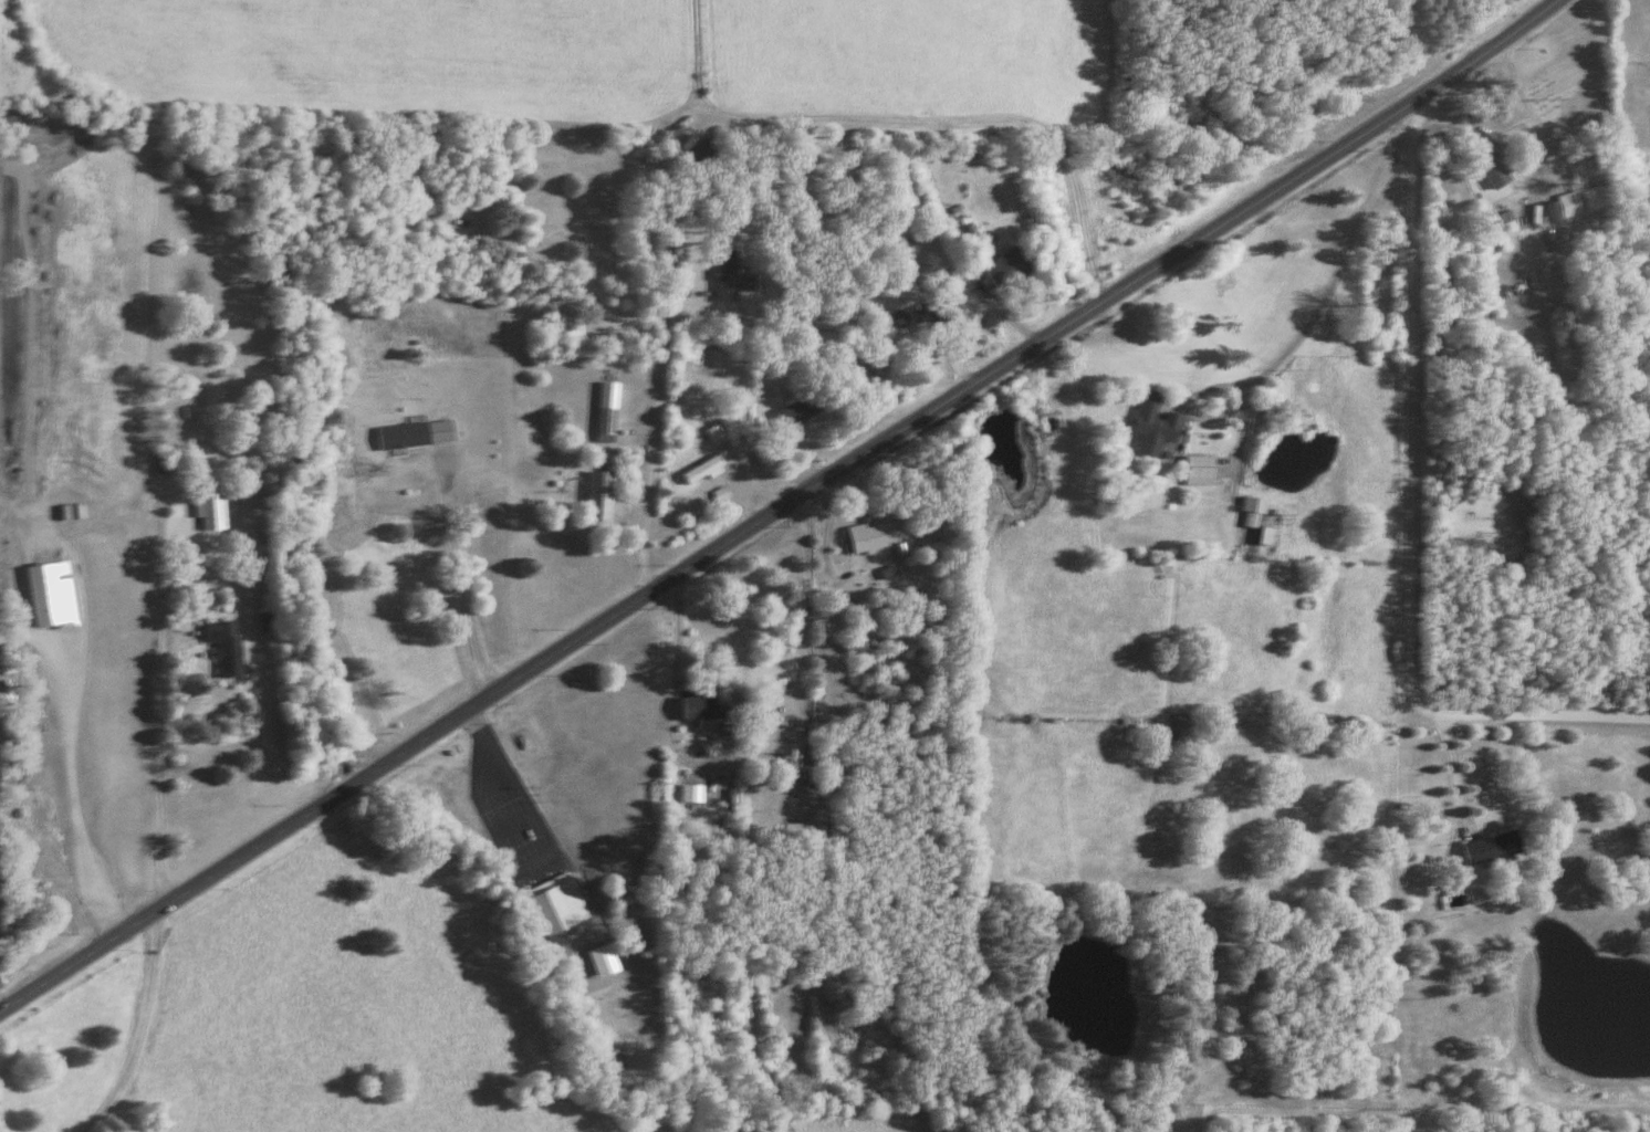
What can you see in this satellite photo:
building: (1501, 164)
building: (1581, 200)
building: (1012, 266)
building: (734, 274)
road: (1333, 282)
building: (613, 406)
building: (803, 409)
road: (658, 411)
building: (1159, 423)
building: (421, 431)
building: (1204, 468)
building: (708, 469)
building: (604, 493)
building: (213, 506)
road: (779, 506)
building: (1257, 509)
road: (1411, 518)
building: (873, 535)
road: (457, 568)
building: (55, 594)
road: (803, 607)
road: (676, 640)
building: (229, 644)
building: (704, 709)
building: (787, 743)
road: (160, 757)
road: (1456, 779)
building: (697, 792)
building: (1495, 845)
building: (562, 903)
building: (608, 958)
road: (142, 1031)

